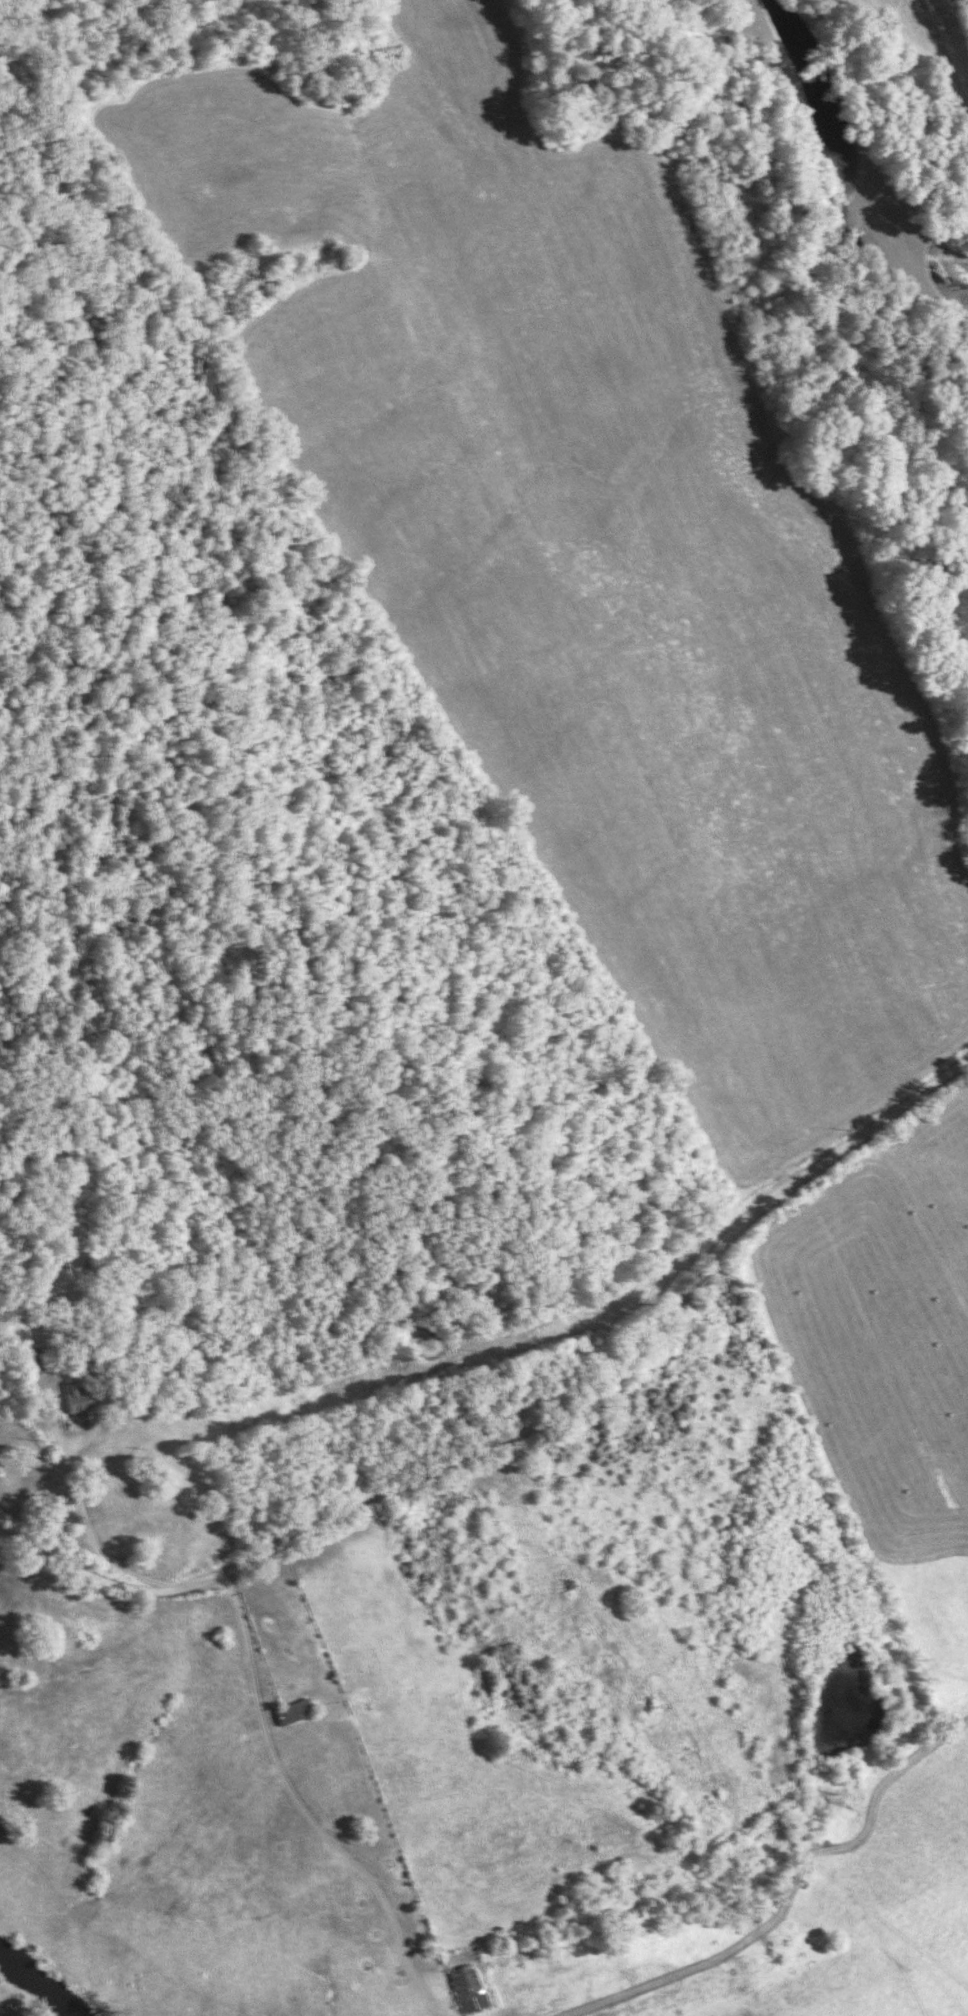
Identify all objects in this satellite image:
road: (960, 19)
road: (878, 1123)
building: (72, 1400)
road: (426, 1467)
road: (70, 1503)
road: (113, 1566)
building: (292, 1713)
road: (286, 1783)
building: (468, 1989)

